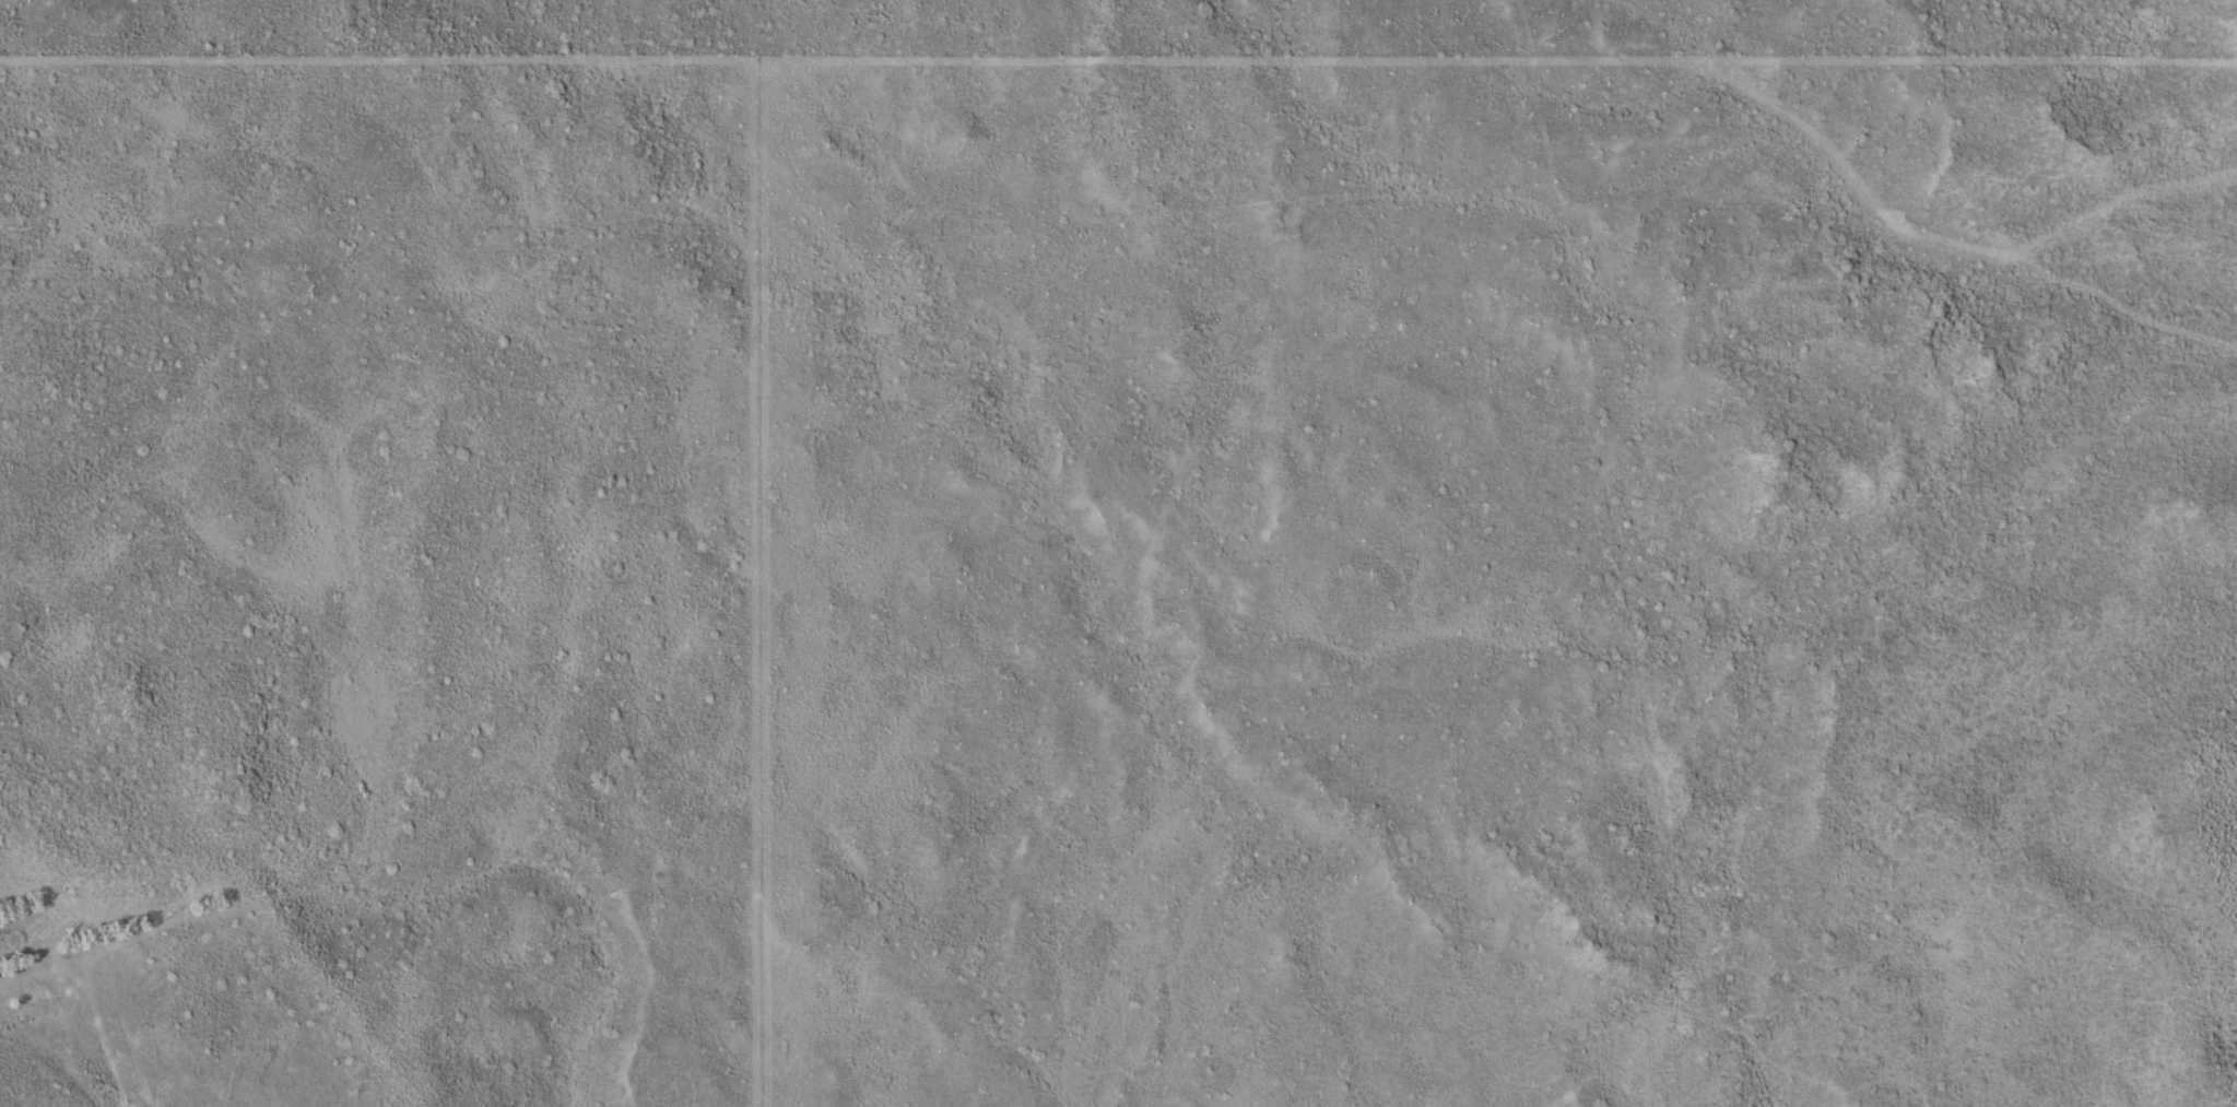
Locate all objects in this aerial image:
road: (1694, 1048)
road: (1659, 1106)

